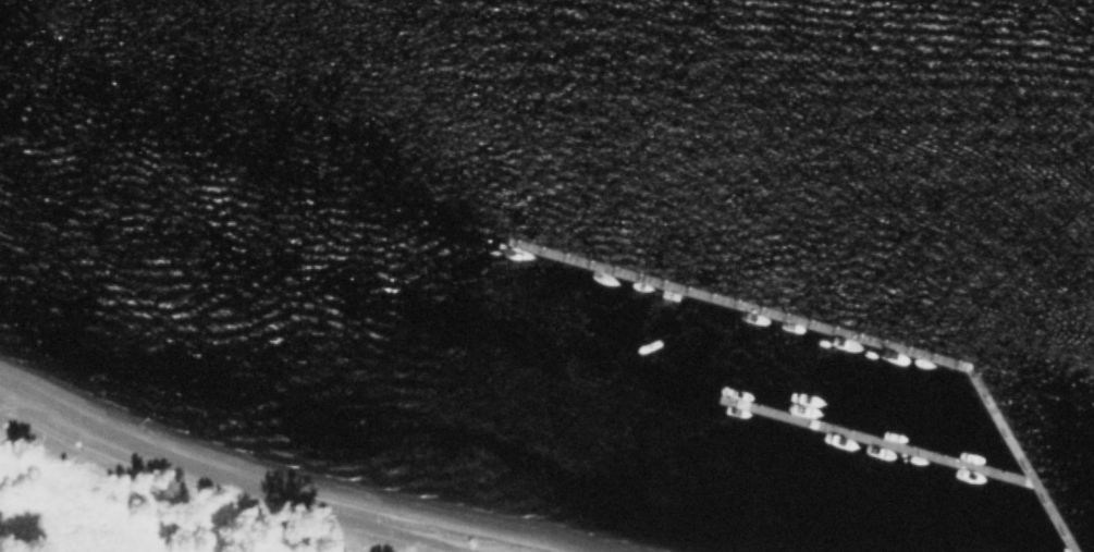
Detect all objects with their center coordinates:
pier: (843, 329)
pier: (876, 438)

